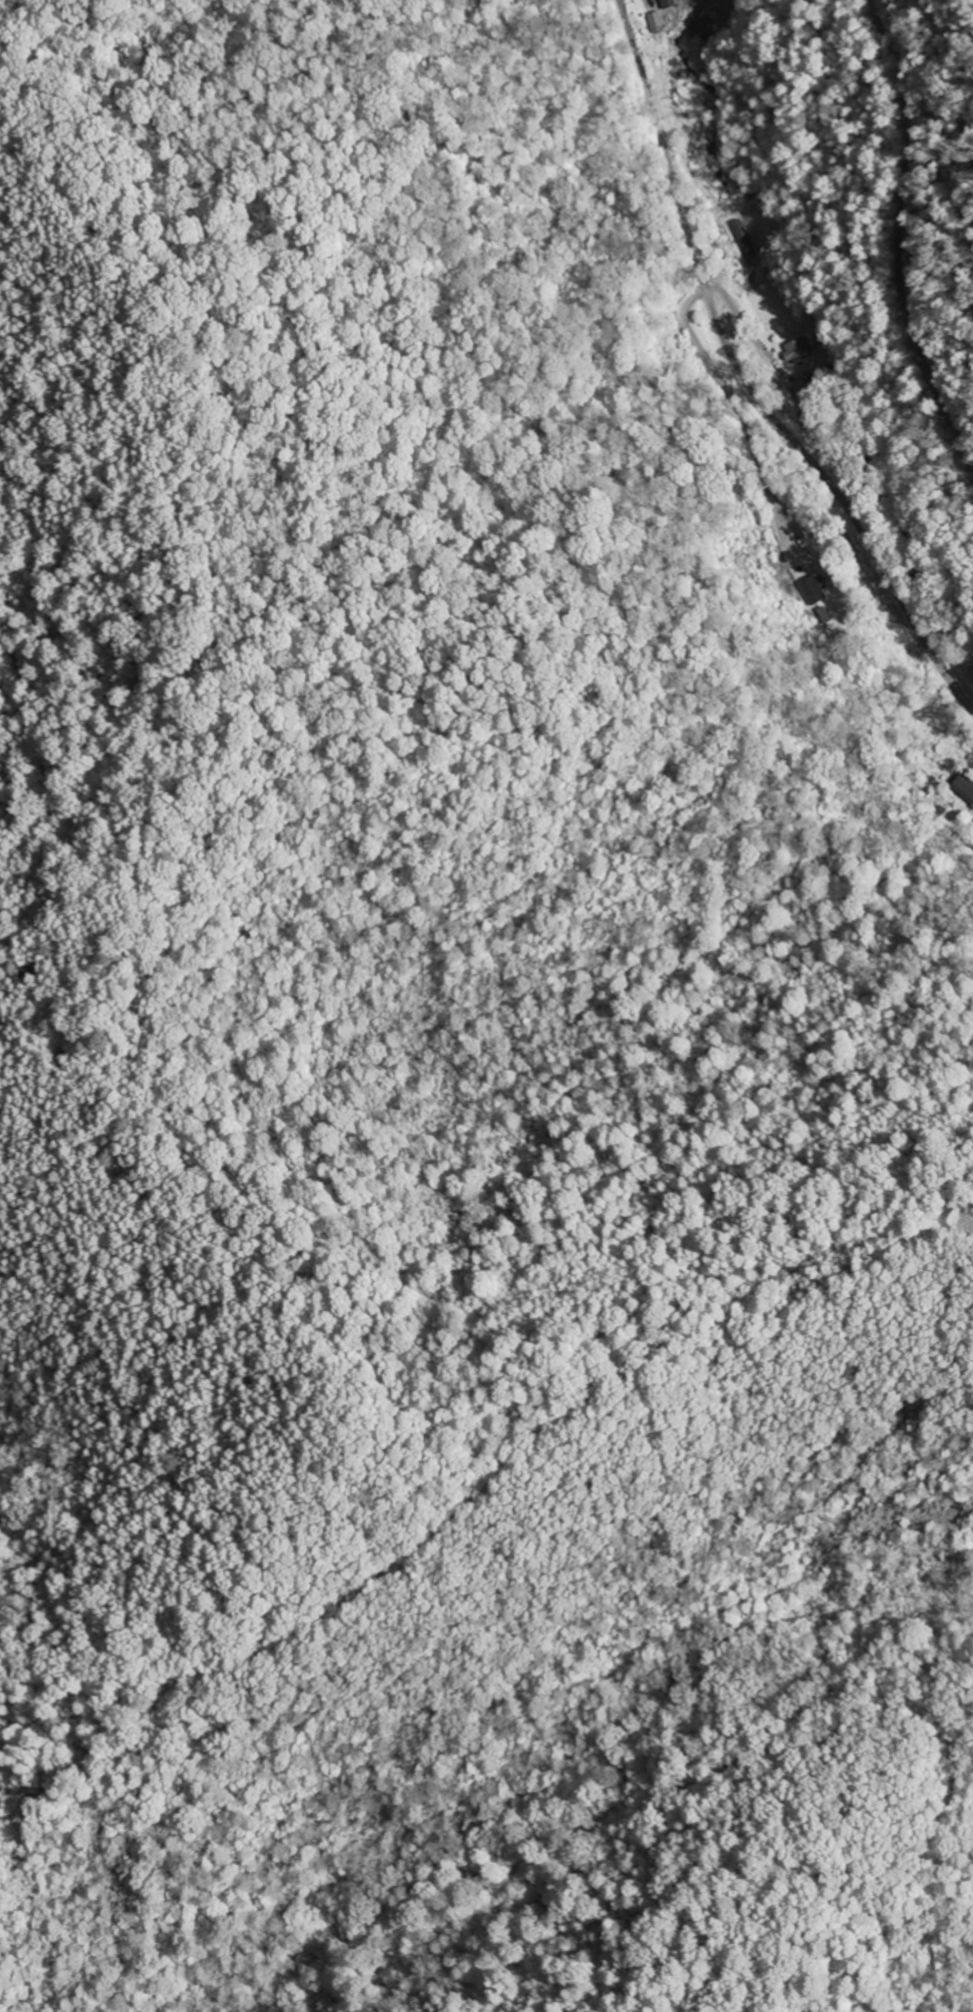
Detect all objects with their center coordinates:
building: (669, 4)
building: (658, 23)
building: (797, 350)
road: (742, 382)
building: (965, 790)

